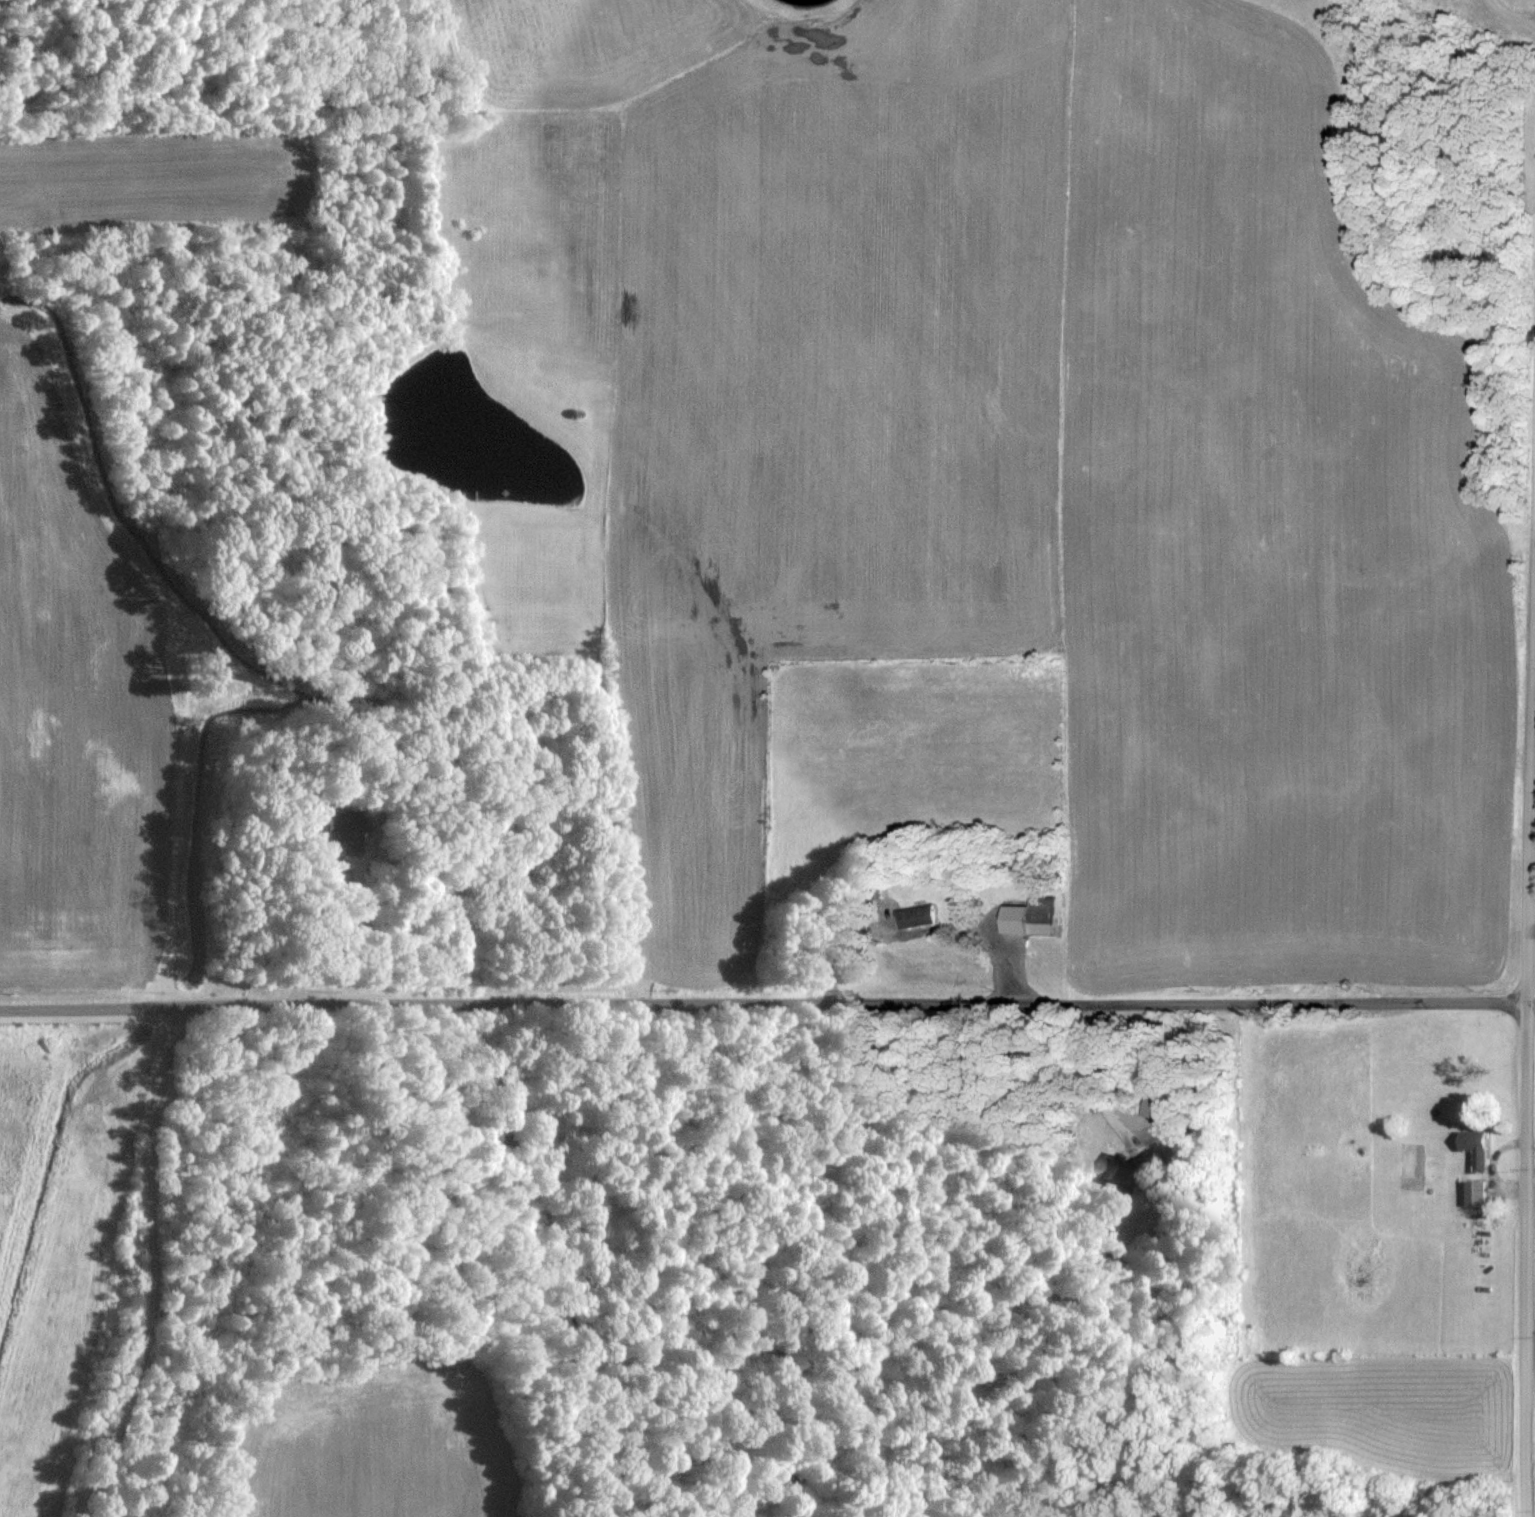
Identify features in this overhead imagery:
road: (1514, 11)
building: (340, 835)
building: (1040, 911)
building: (916, 918)
road: (319, 963)
road: (762, 1004)
road: (1526, 1041)
road: (1100, 1076)
building: (1476, 1149)
building: (1477, 1195)
road: (155, 1265)

